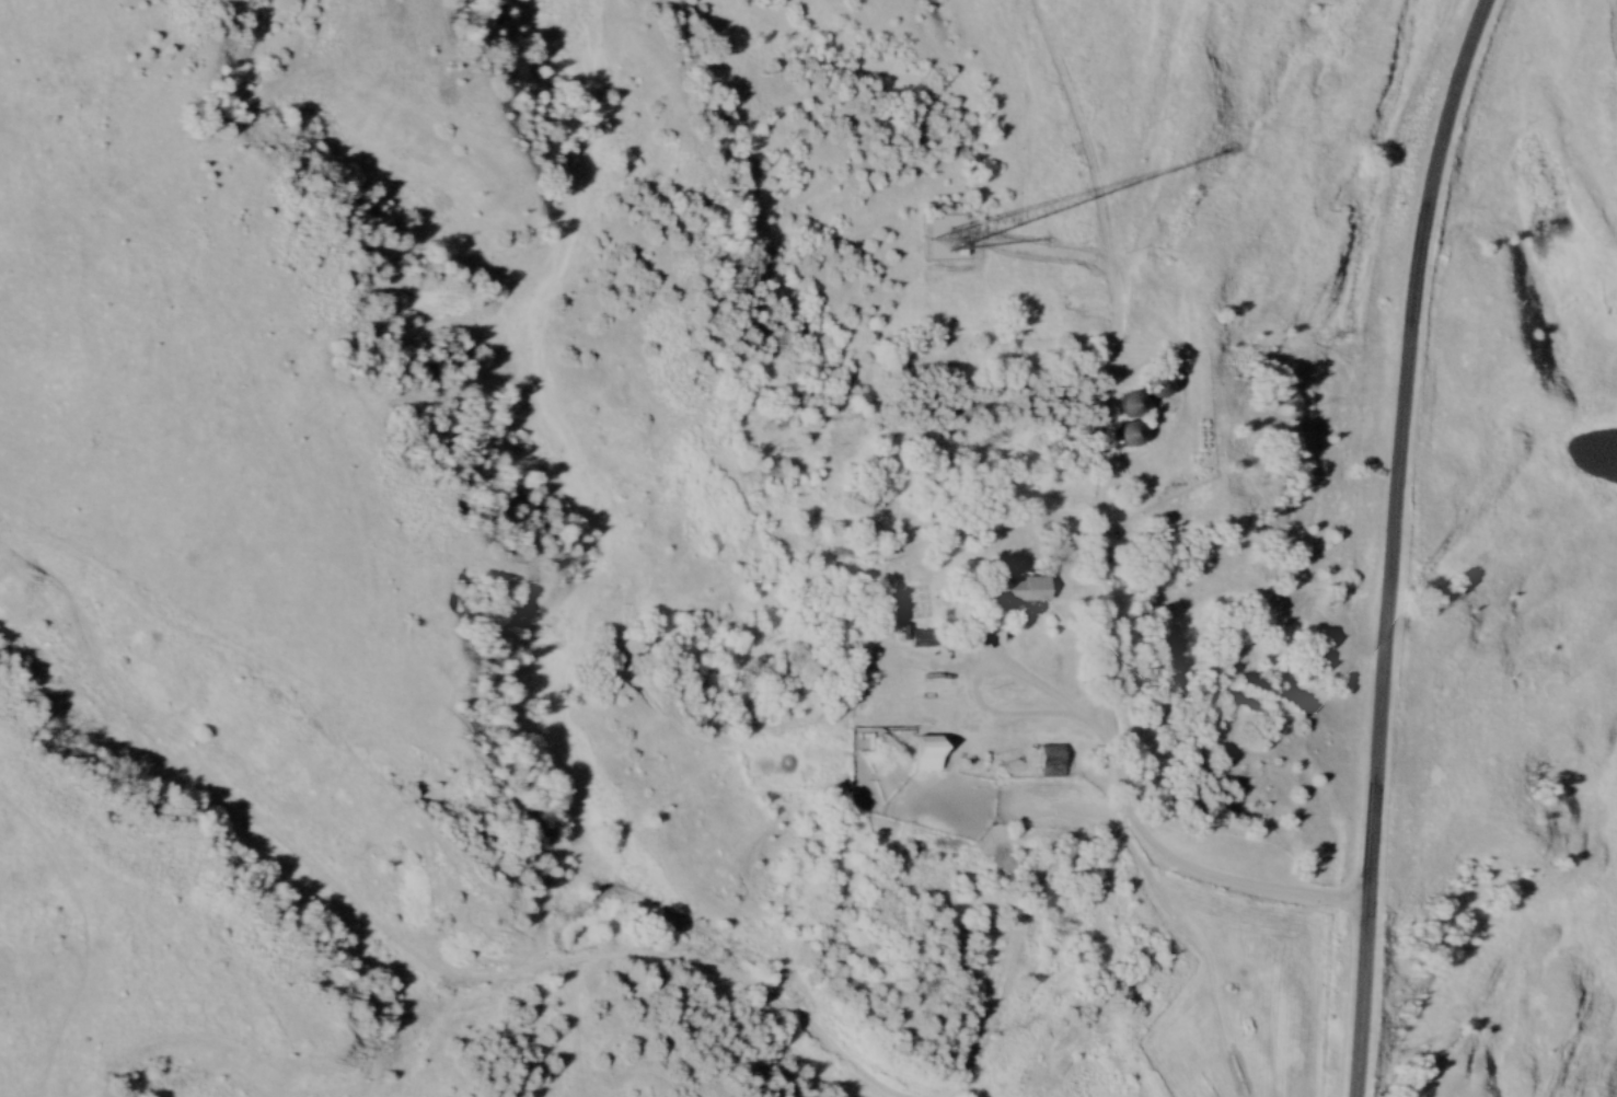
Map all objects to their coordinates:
building: (1158, 391)
building: (1135, 408)
building: (1133, 438)
road: (1390, 543)
building: (839, 550)
building: (1016, 592)
building: (923, 642)
building: (926, 758)
road: (1118, 762)
building: (1051, 764)

